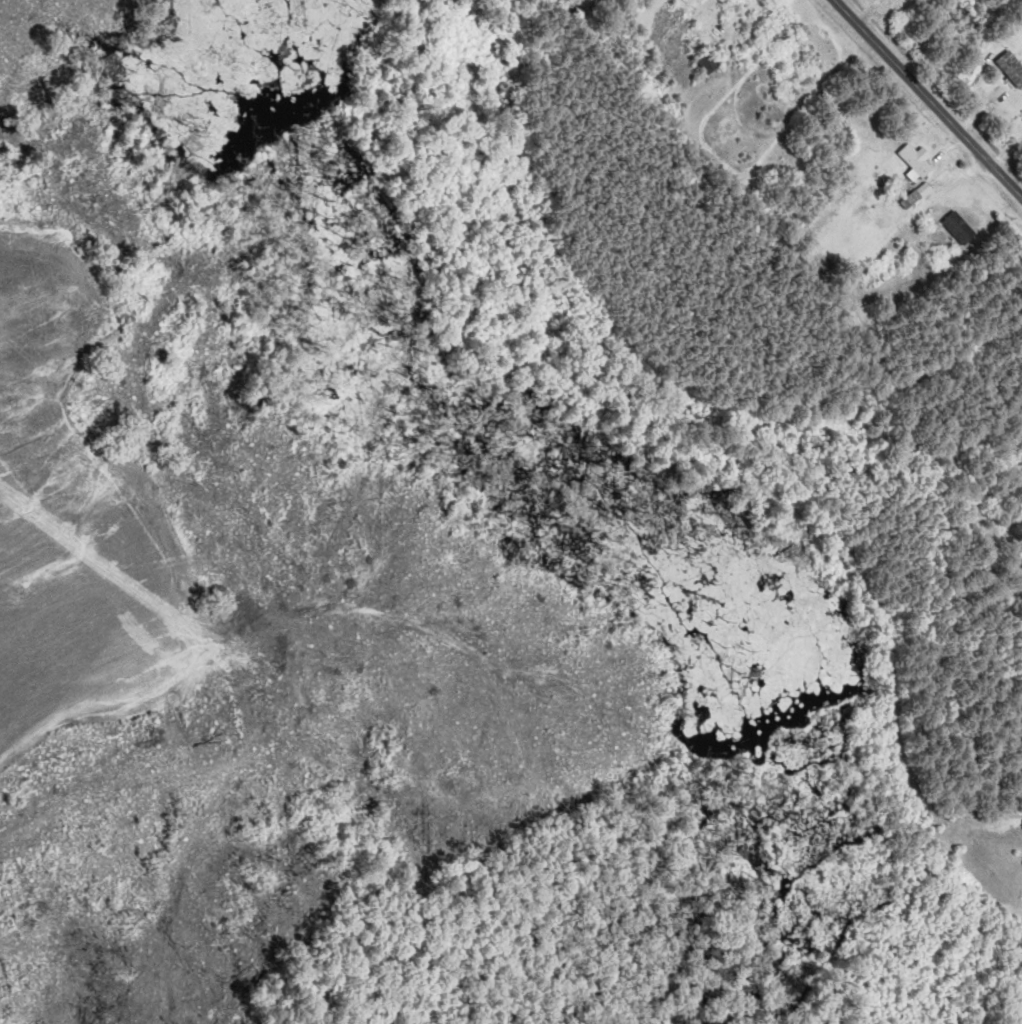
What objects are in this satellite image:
building: (705, 58)
building: (1011, 69)
road: (929, 97)
building: (842, 129)
building: (917, 159)
building: (911, 200)
building: (959, 228)
building: (1021, 1023)

